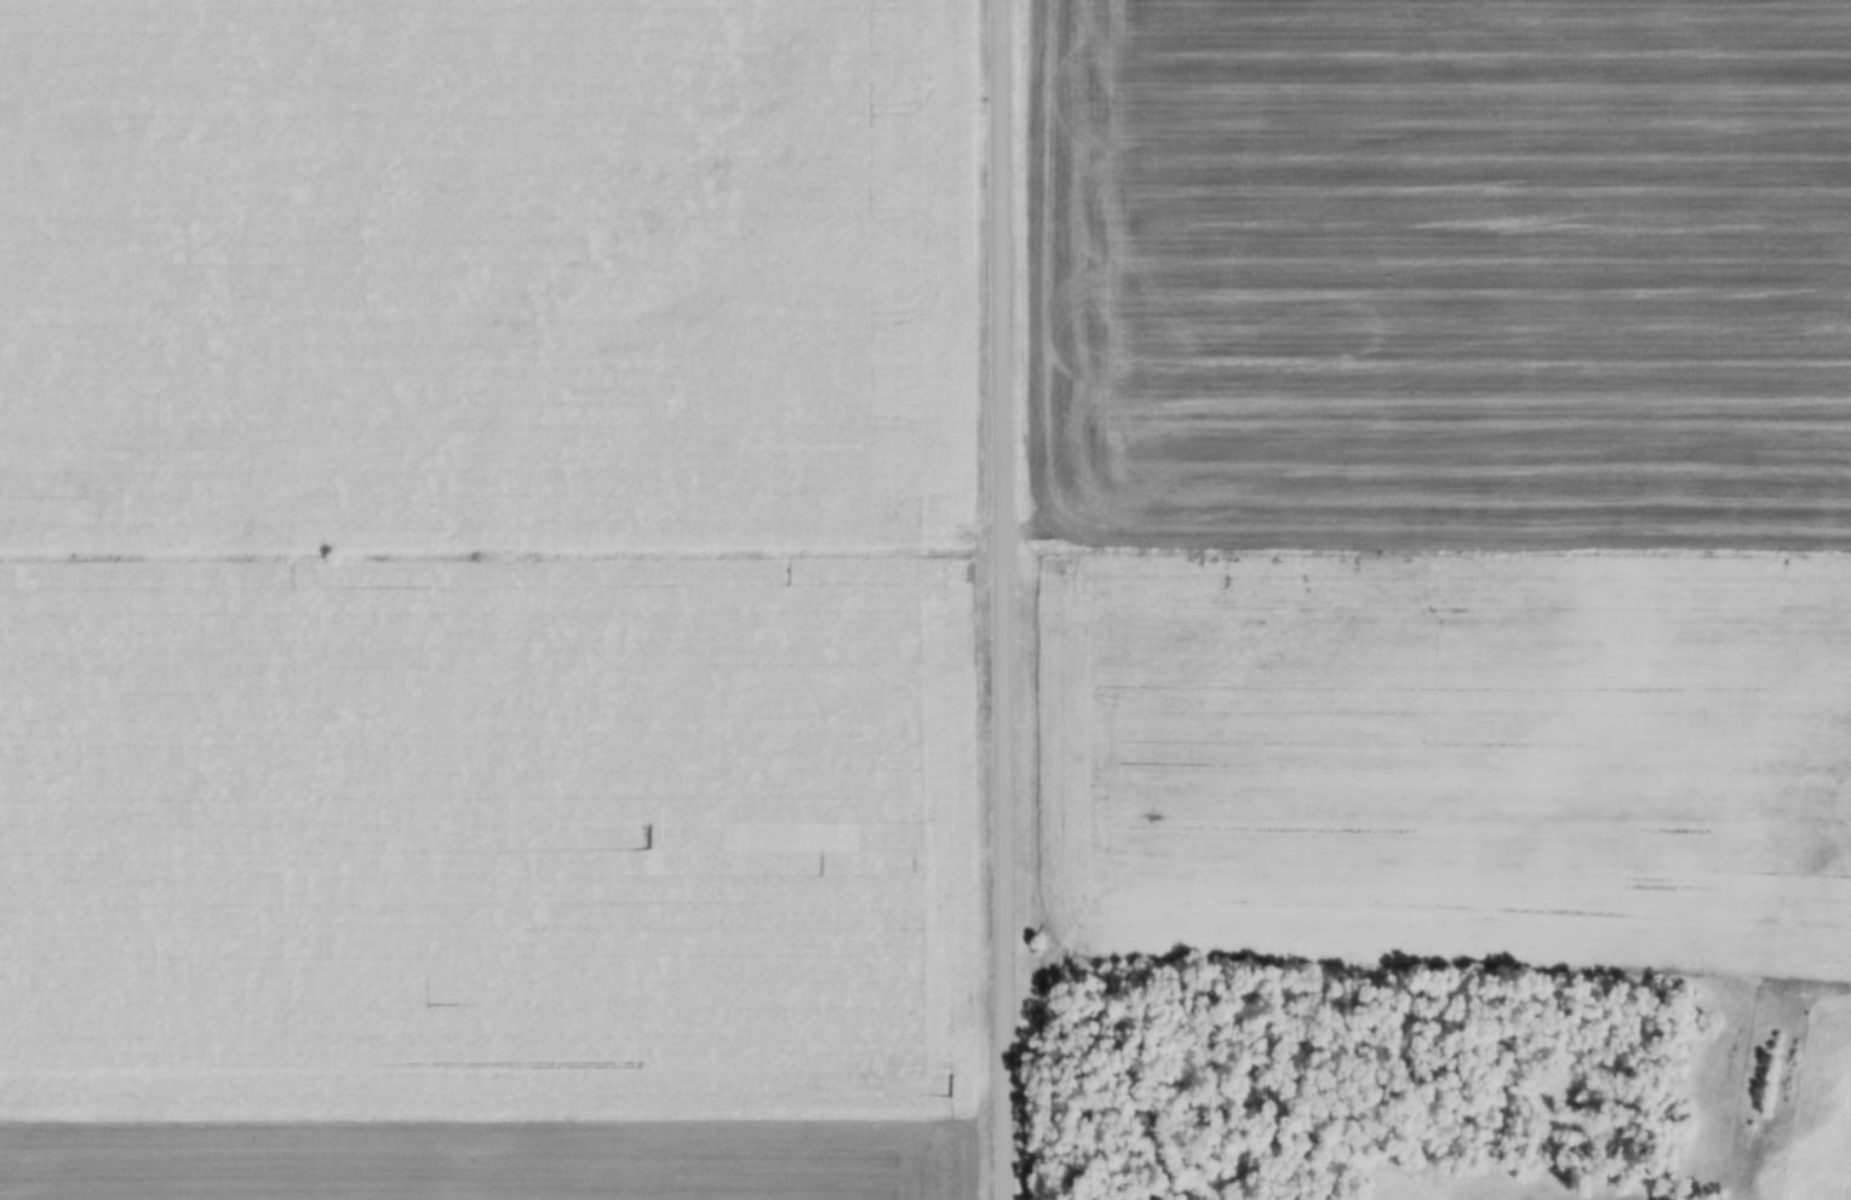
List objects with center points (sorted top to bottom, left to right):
road: (1005, 599)

